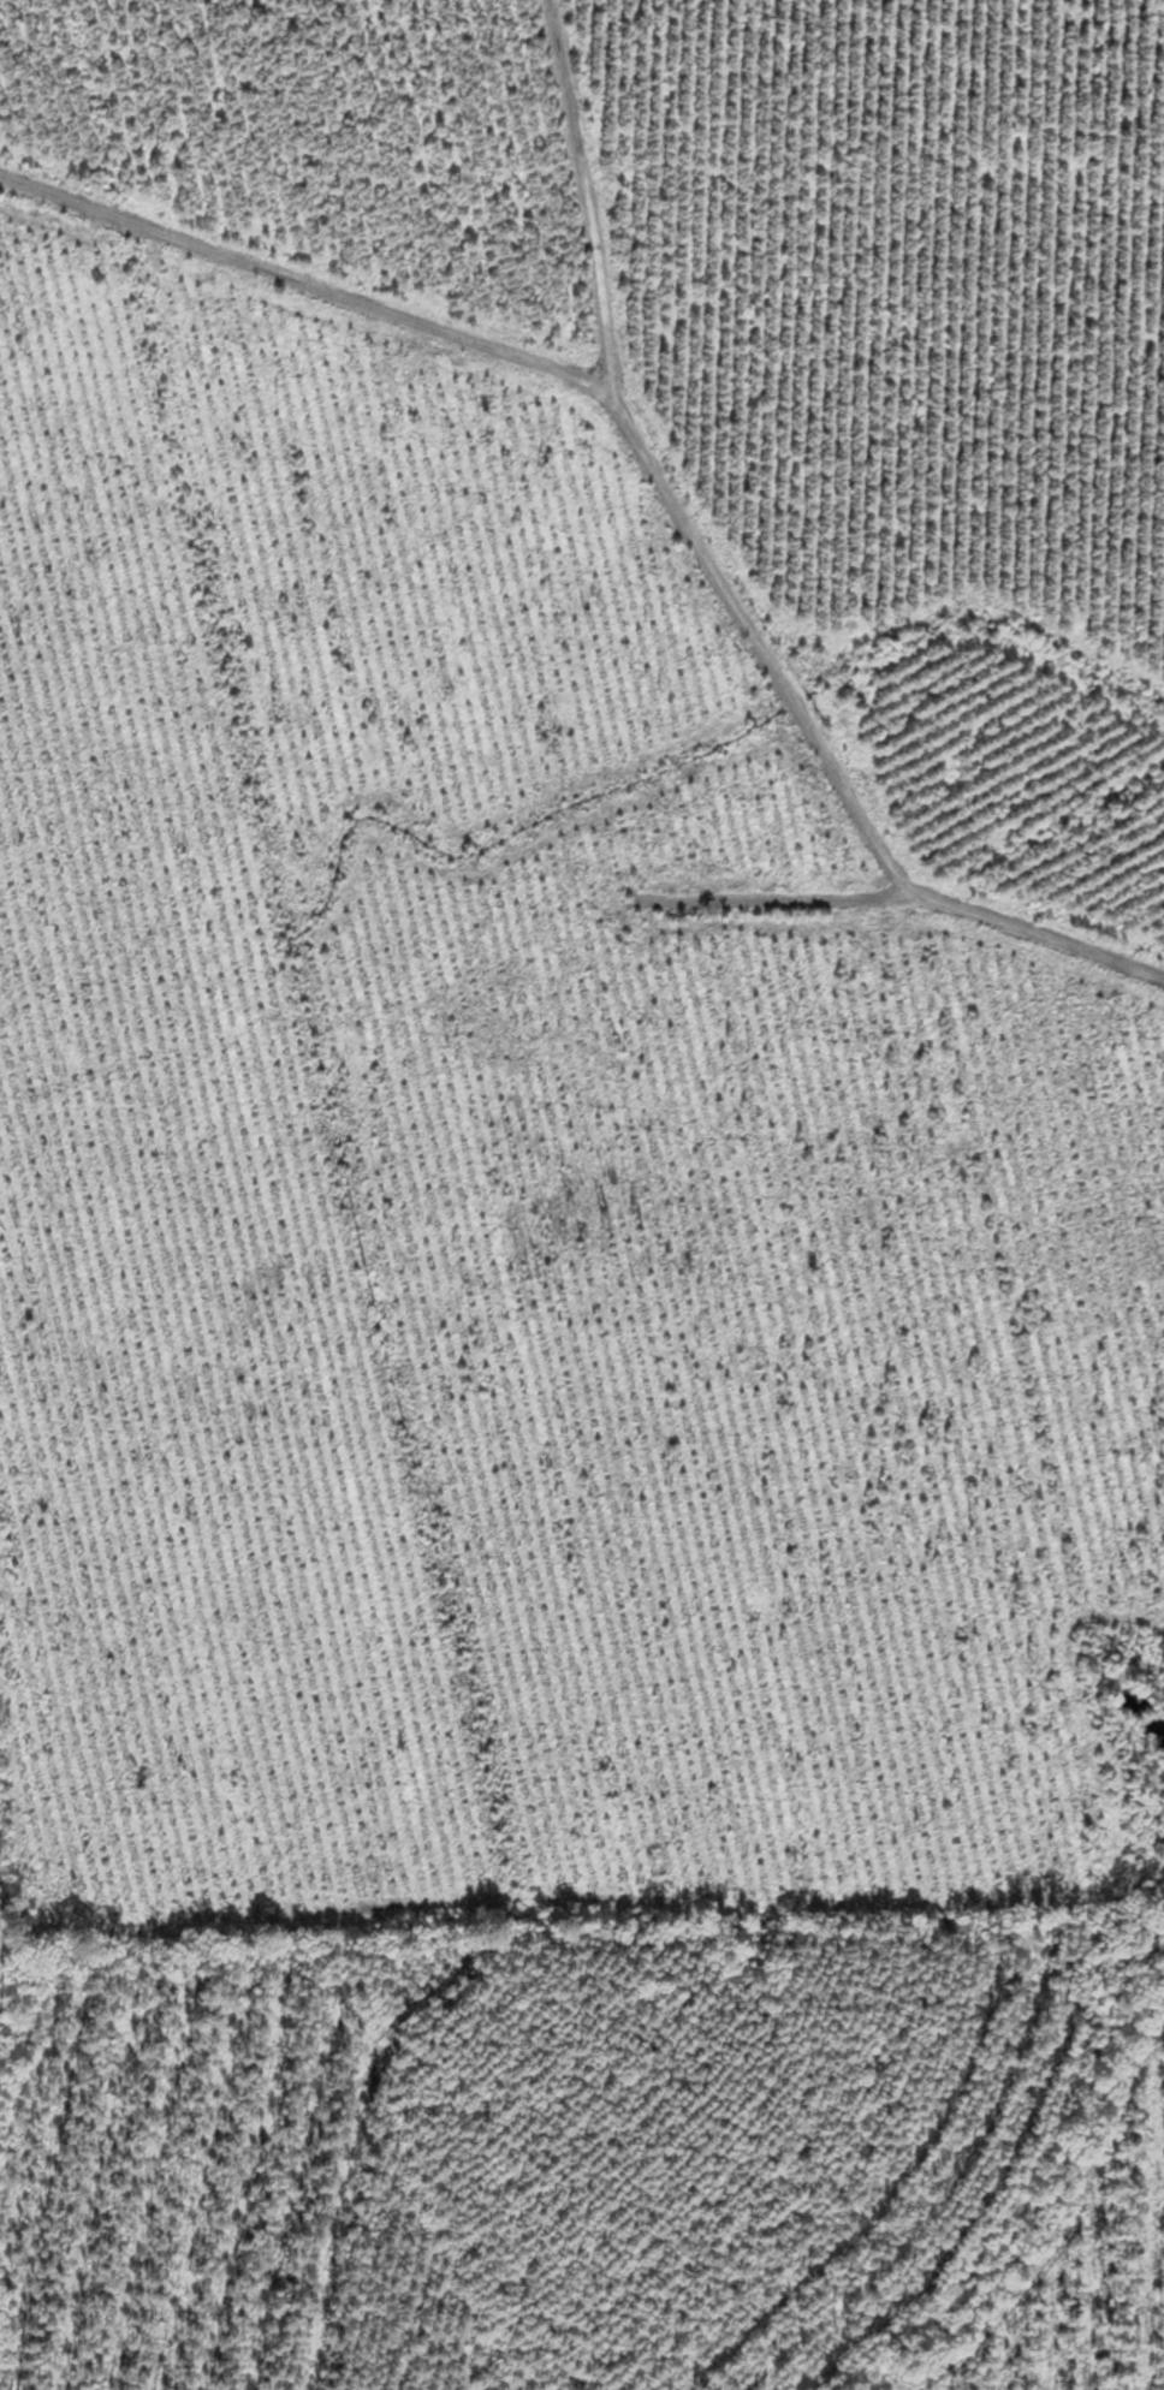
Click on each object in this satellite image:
road: (584, 195)
road: (660, 480)

